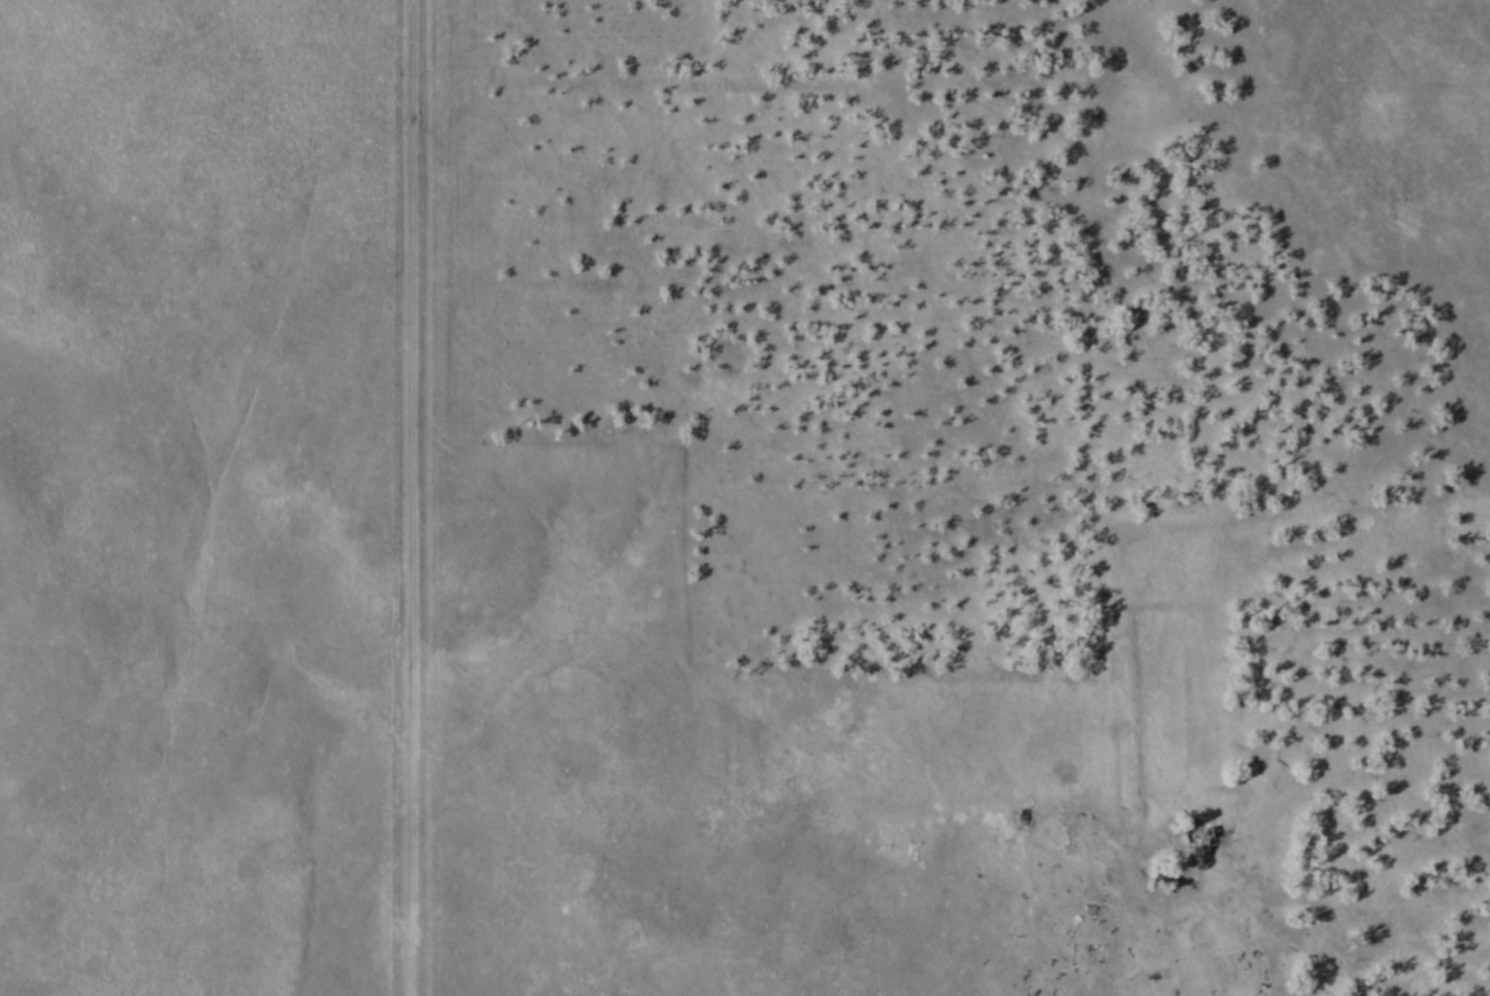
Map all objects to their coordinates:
road: (438, 498)

